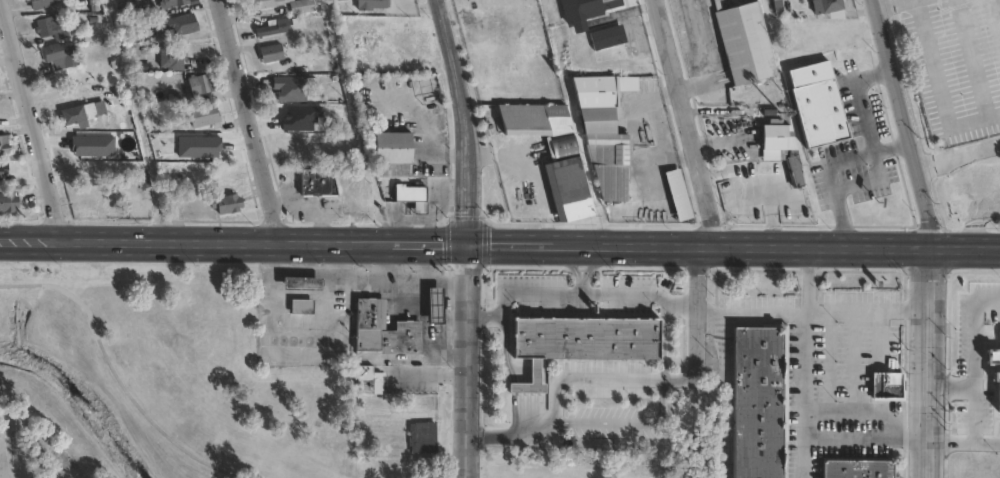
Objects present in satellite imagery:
building: (133, 0)
building: (42, 3)
building: (172, 3)
building: (267, 3)
building: (371, 4)
road: (895, 4)
building: (827, 6)
building: (302, 7)
building: (586, 11)
road: (996, 11)
building: (182, 24)
building: (51, 27)
building: (273, 28)
building: (608, 37)
building: (746, 43)
building: (271, 53)
building: (60, 55)
building: (173, 57)
road: (971, 58)
building: (201, 85)
road: (938, 88)
road: (857, 98)
building: (79, 113)
building: (205, 115)
building: (292, 115)
building: (820, 116)
road: (249, 119)
building: (531, 121)
road: (687, 122)
road: (903, 124)
road: (28, 125)
building: (606, 131)
building: (778, 142)
building: (4, 144)
building: (394, 148)
road: (682, 150)
road: (957, 157)
road: (664, 158)
road: (826, 165)
building: (6, 173)
building: (224, 174)
building: (571, 179)
road: (869, 182)
building: (316, 183)
building: (985, 191)
building: (678, 194)
building: (362, 197)
building: (413, 198)
building: (8, 201)
building: (228, 204)
road: (976, 221)
road: (468, 237)
road: (464, 241)
traffic signals: (468, 241)
road: (964, 249)
road: (380, 278)
building: (303, 283)
road: (538, 292)
road: (640, 292)
road: (270, 295)
building: (434, 304)
building: (303, 306)
road: (865, 309)
road: (715, 313)
building: (382, 328)
road: (979, 334)
road: (880, 338)
building: (578, 341)
road: (338, 350)
road: (827, 360)
road: (853, 360)
road: (802, 362)
road: (929, 363)
road: (113, 374)
building: (995, 375)
building: (367, 379)
road: (593, 379)
park: (188, 381)
building: (884, 386)
building: (759, 402)
road: (862, 411)
road: (978, 413)
road: (618, 423)
building: (424, 438)
road: (864, 438)
road: (989, 440)
road: (4, 459)
park: (578, 462)
building: (854, 468)

